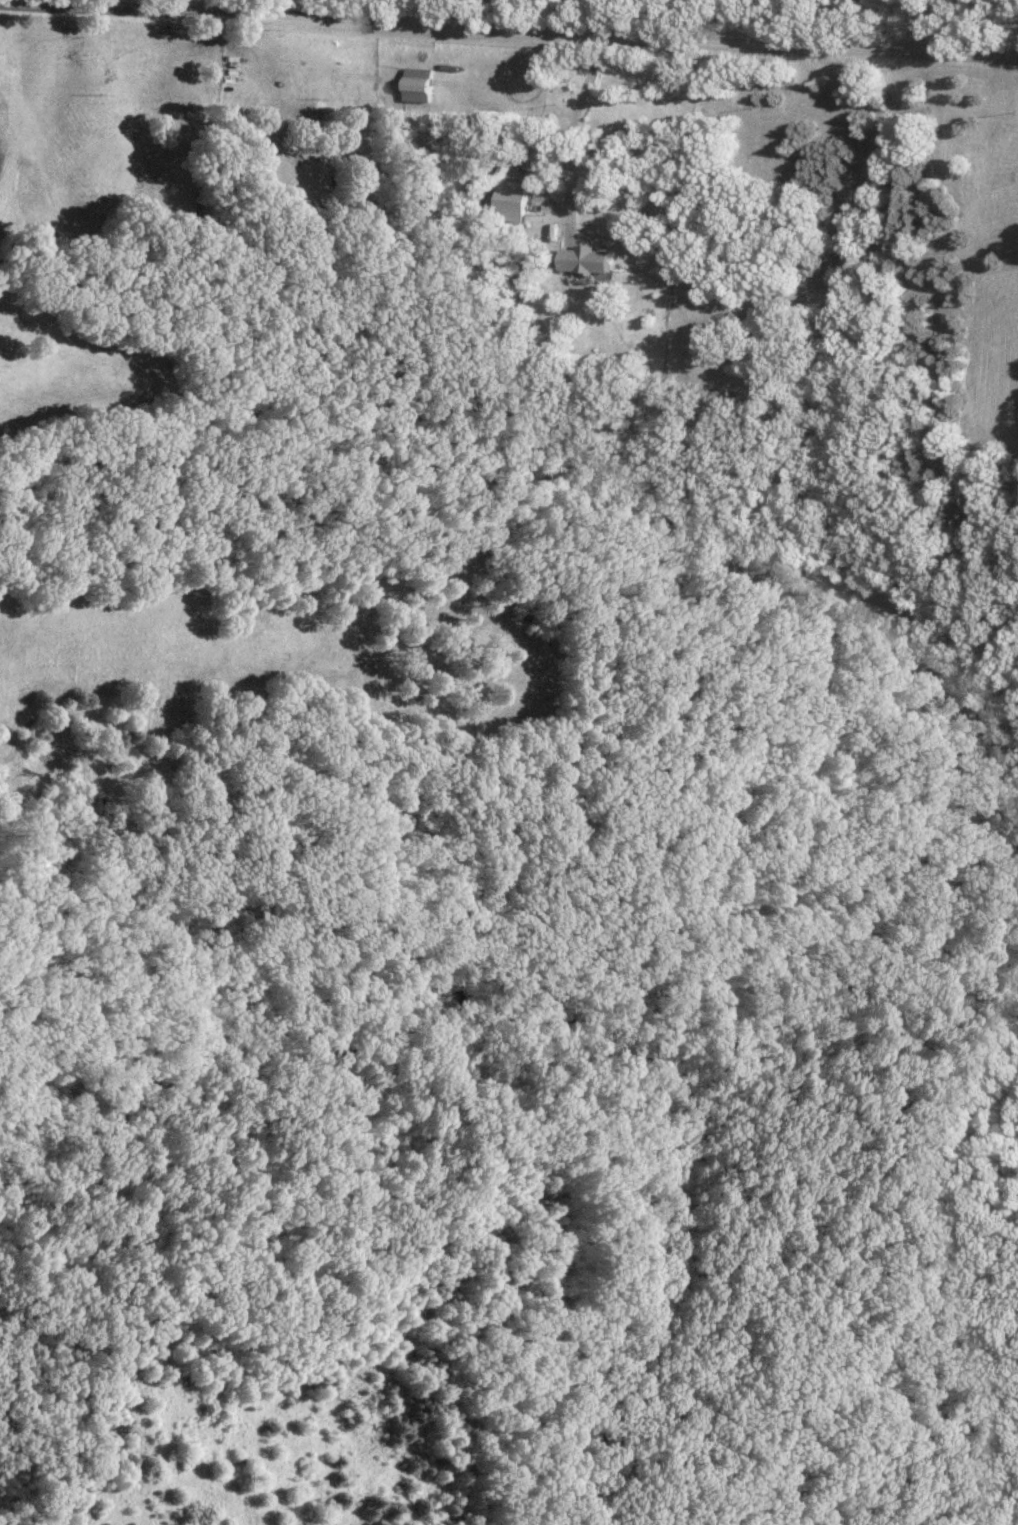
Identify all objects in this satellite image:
road: (508, 33)
building: (420, 84)
road: (567, 140)
building: (513, 199)
building: (588, 259)

